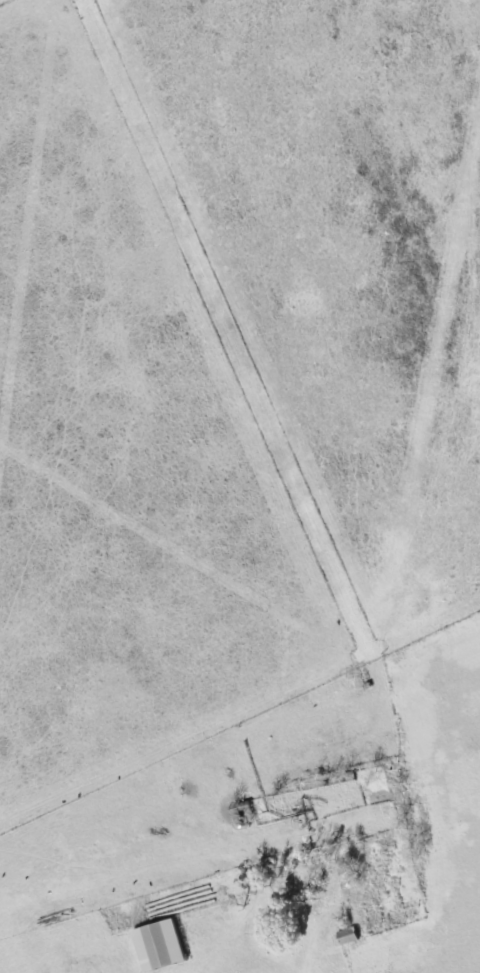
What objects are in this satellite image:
building: (393, 767)
building: (346, 935)
road: (313, 942)
building: (159, 945)

